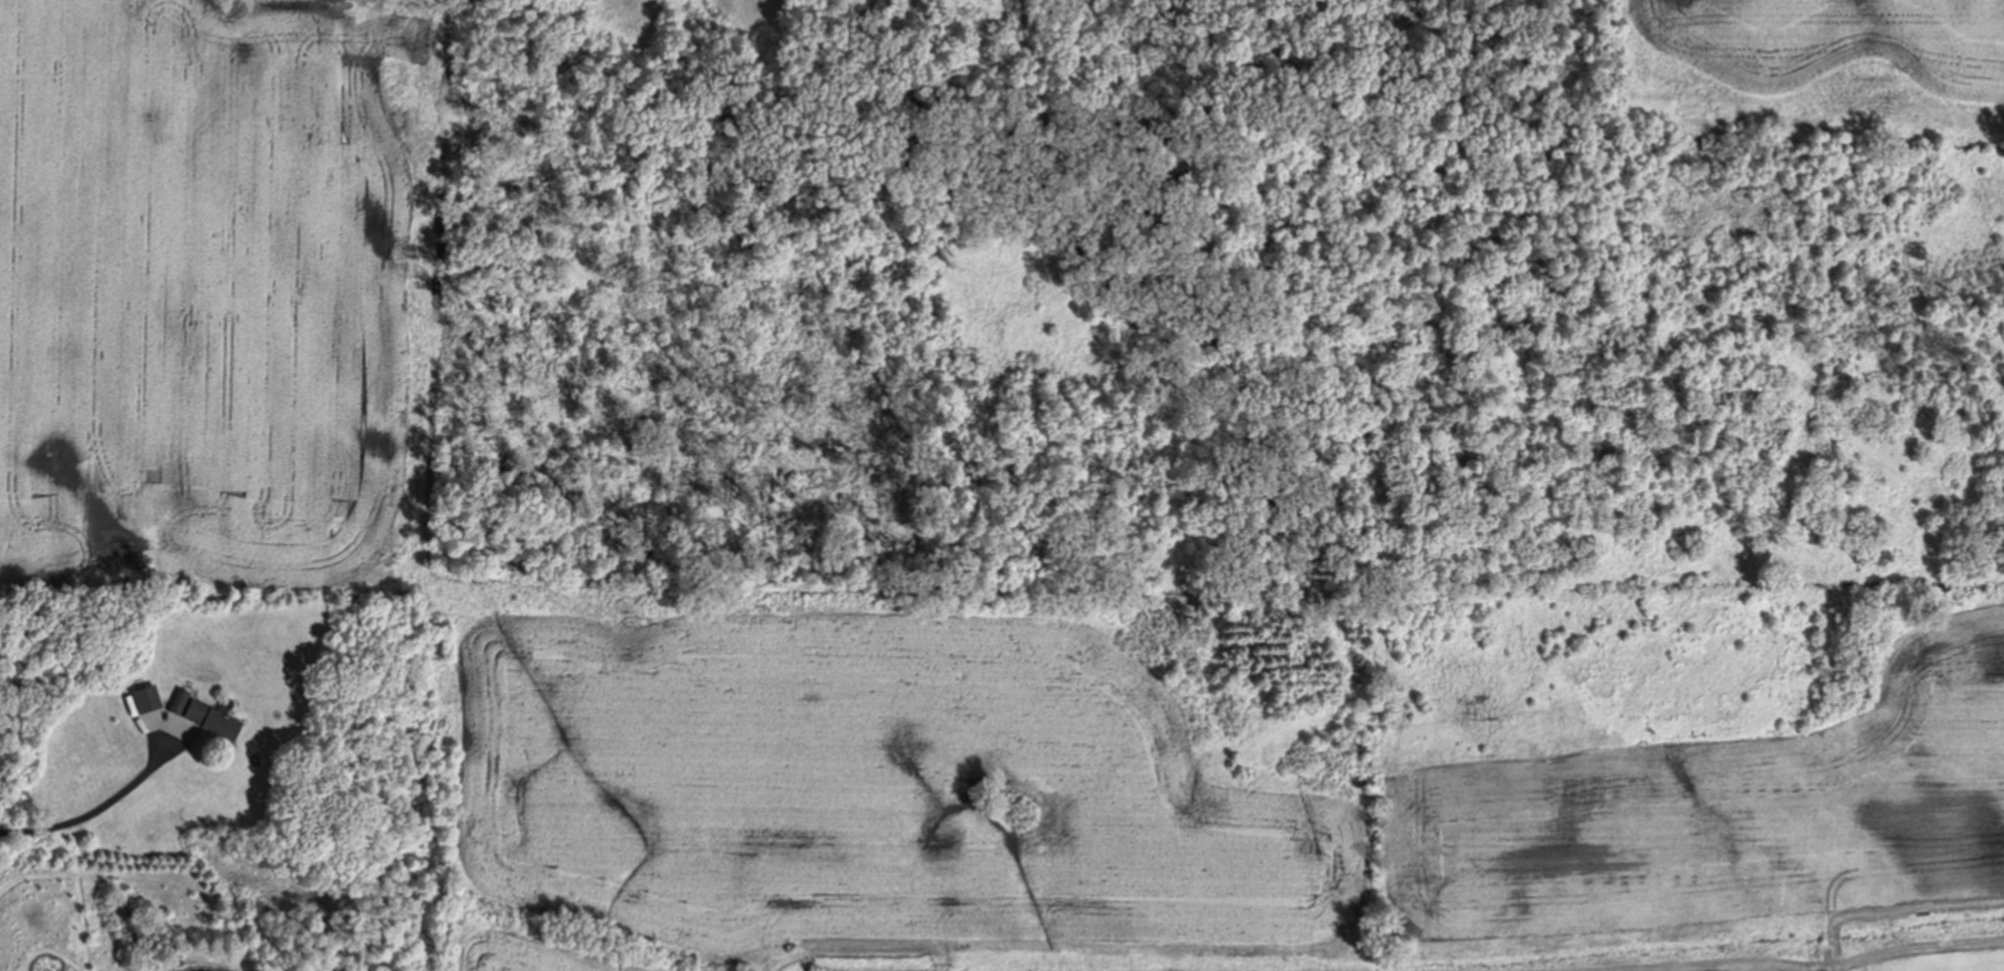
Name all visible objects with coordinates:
building: (147, 700)
building: (180, 701)
building: (213, 721)
road: (85, 814)

